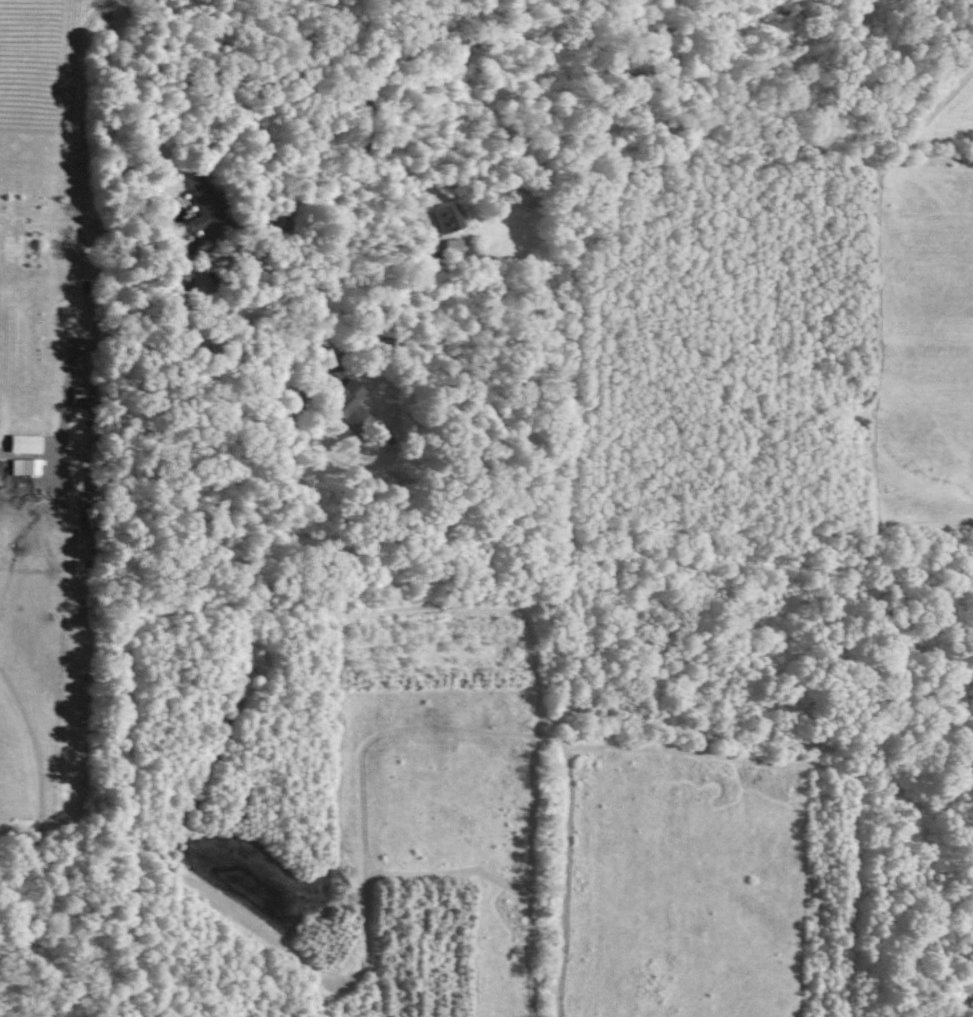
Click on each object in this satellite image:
building: (201, 202)
building: (445, 218)
road: (378, 242)
building: (451, 246)
road: (255, 257)
building: (178, 273)
building: (345, 402)
building: (21, 446)
building: (27, 466)

